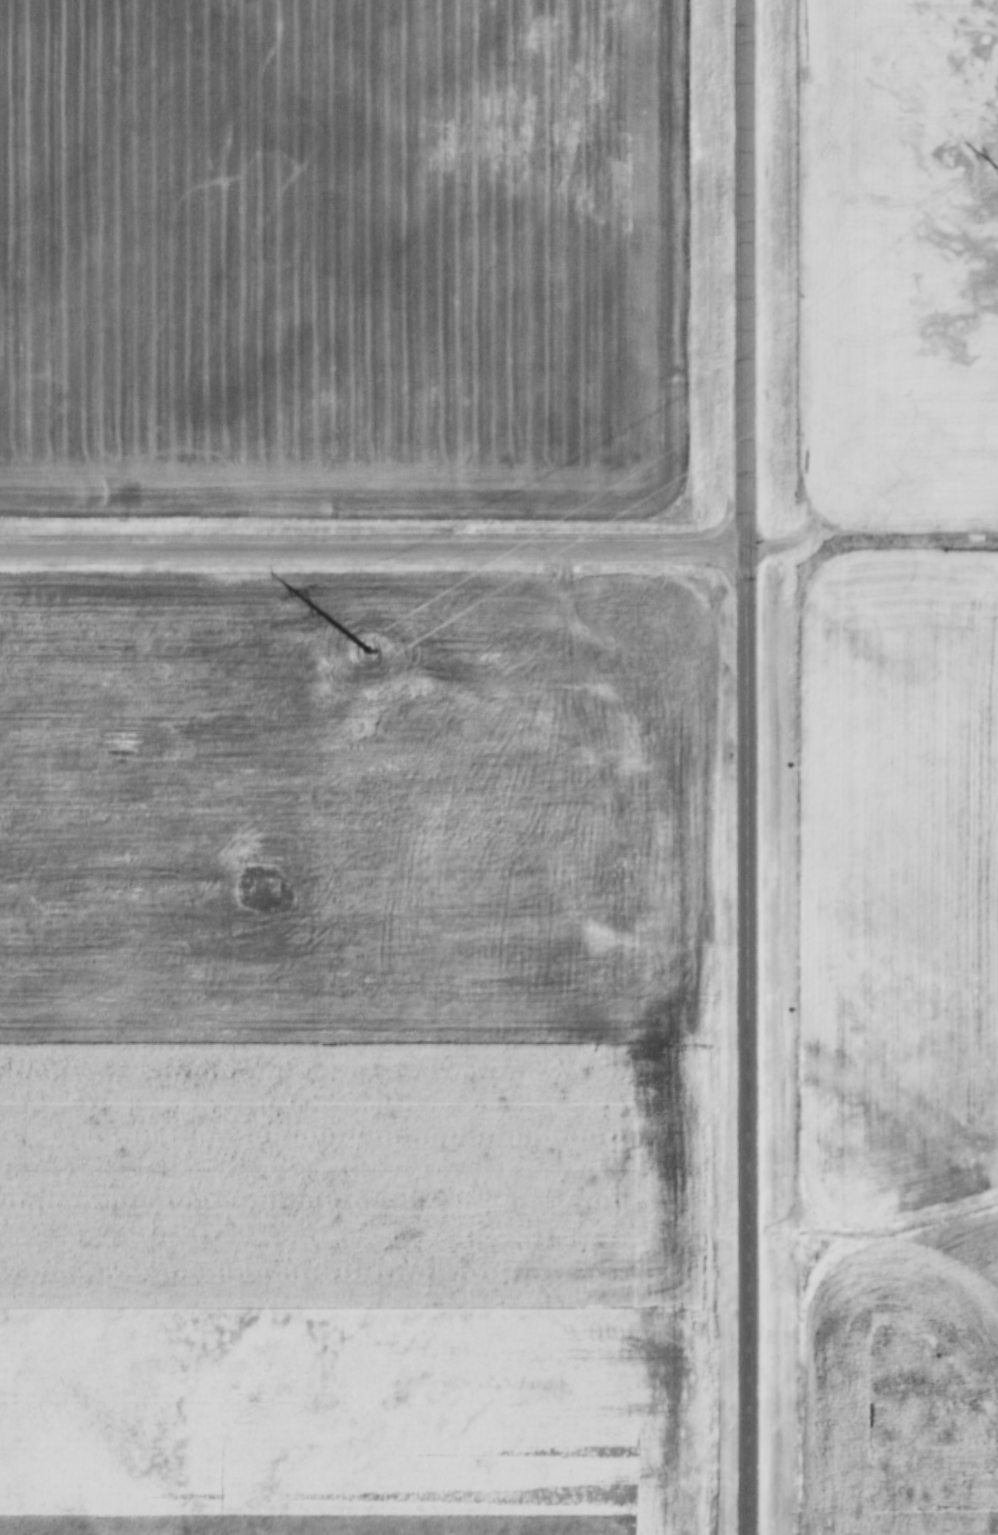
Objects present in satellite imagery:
road: (742, 272)
road: (870, 534)
road: (371, 546)
power tower: (369, 645)
road: (744, 1039)

